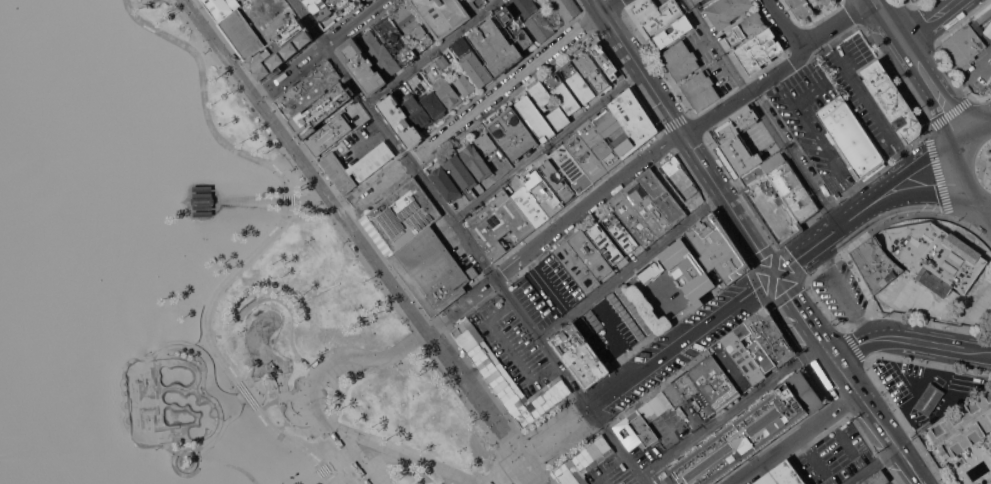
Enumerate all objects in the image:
building: (155, 0)
building: (199, 0)
building: (488, 0)
building: (708, 0)
building: (915, 0)
building: (694, 1)
building: (697, 2)
building: (341, 4)
road: (137, 5)
road: (257, 6)
building: (805, 6)
building: (524, 7)
building: (221, 8)
building: (319, 8)
building: (566, 8)
building: (641, 9)
building: (727, 11)
road: (277, 14)
building: (442, 15)
building: (984, 16)
building: (660, 19)
road: (931, 22)
road: (308, 23)
road: (355, 23)
road: (783, 25)
building: (508, 26)
building: (413, 27)
building: (539, 27)
building: (745, 28)
building: (987, 29)
building: (674, 31)
road: (897, 33)
building: (242, 35)
building: (396, 40)
building: (460, 46)
building: (756, 46)
building: (964, 47)
building: (495, 48)
building: (279, 51)
road: (432, 52)
street lamp: (206, 53)
building: (379, 53)
building: (763, 58)
building: (604, 59)
building: (680, 60)
building: (443, 61)
building: (361, 66)
building: (476, 69)
road: (780, 71)
road: (294, 72)
building: (593, 73)
road: (969, 78)
road: (927, 79)
road: (514, 80)
building: (577, 82)
building: (464, 85)
building: (307, 90)
building: (700, 90)
building: (447, 92)
parking lot: (862, 92)
building: (562, 93)
road: (862, 93)
street lamp: (235, 94)
building: (541, 94)
road: (807, 96)
building: (891, 101)
road: (943, 102)
building: (433, 105)
building: (320, 111)
building: (416, 111)
road: (763, 111)
building: (558, 118)
building: (536, 119)
road: (970, 119)
building: (399, 121)
parking lot: (813, 122)
building: (625, 123)
building: (518, 129)
road: (958, 130)
street lamp: (263, 131)
road: (974, 133)
building: (329, 134)
road: (683, 136)
building: (850, 137)
building: (506, 138)
road: (369, 142)
building: (486, 143)
building: (737, 143)
road: (815, 143)
building: (599, 144)
road: (546, 146)
road: (962, 150)
building: (8, 151)
building: (585, 157)
road: (905, 159)
building: (16, 162)
building: (477, 164)
park: (983, 164)
building: (356, 166)
road: (975, 167)
building: (571, 168)
road: (903, 168)
building: (763, 169)
building: (461, 172)
road: (959, 172)
building: (27, 175)
building: (679, 178)
building: (557, 180)
building: (445, 184)
building: (201, 188)
road: (376, 188)
building: (794, 192)
road: (939, 192)
building: (543, 193)
building: (662, 196)
building: (201, 200)
road: (886, 200)
road: (251, 201)
road: (308, 201)
road: (586, 203)
road: (975, 205)
street lamp: (318, 206)
building: (530, 206)
road: (292, 208)
building: (647, 208)
building: (772, 210)
building: (202, 213)
building: (399, 216)
building: (633, 219)
building: (498, 224)
building: (620, 232)
road: (271, 234)
street lamp: (307, 241)
road: (816, 241)
road: (363, 244)
building: (605, 244)
building: (717, 248)
building: (935, 256)
building: (584, 261)
road: (527, 263)
building: (875, 264)
road: (486, 265)
road: (630, 267)
building: (430, 268)
building: (650, 270)
building: (687, 270)
road: (754, 272)
traffic signals: (774, 273)
road: (778, 274)
road: (773, 277)
road: (520, 282)
parking lot: (547, 290)
road: (839, 291)
parking lot: (840, 292)
road: (551, 293)
road: (459, 302)
building: (499, 303)
building: (988, 304)
road: (803, 317)
road: (293, 318)
parking lot: (685, 323)
street lamp: (403, 325)
parking lot: (614, 326)
building: (770, 336)
road: (612, 337)
road: (681, 339)
road: (909, 339)
parking lot: (515, 345)
building: (754, 347)
road: (260, 348)
street lamp: (422, 350)
road: (509, 350)
street lamp: (321, 352)
street lamp: (144, 354)
building: (578, 356)
road: (365, 357)
building: (742, 357)
parking lot: (673, 361)
road: (263, 365)
park: (345, 366)
building: (729, 366)
road: (896, 367)
building: (503, 376)
road: (282, 383)
building: (713, 383)
building: (681, 389)
road: (919, 391)
road: (339, 394)
road: (289, 395)
road: (322, 397)
road: (241, 398)
building: (929, 399)
road: (229, 405)
road: (247, 406)
building: (655, 407)
building: (681, 410)
road: (732, 410)
park: (216, 413)
street lamp: (224, 421)
road: (879, 422)
building: (964, 426)
building: (634, 430)
road: (556, 433)
road: (214, 434)
building: (744, 434)
road: (839, 436)
road: (795, 438)
flagpole: (529, 440)
building: (990, 443)
street lamp: (493, 447)
road: (185, 449)
building: (990, 449)
road: (397, 450)
street lamp: (156, 452)
road: (353, 454)
road: (811, 456)
road: (335, 459)
road: (408, 460)
road: (200, 461)
building: (583, 462)
flagpole: (546, 464)
road: (230, 466)
road: (873, 466)
road: (609, 467)
building: (622, 467)
road: (506, 471)
parking lot: (613, 473)
road: (315, 474)
building: (781, 475)
road: (184, 476)
road: (427, 476)
street lamp: (293, 477)
road: (316, 477)
road: (904, 477)
building: (877, 478)
road: (397, 481)

